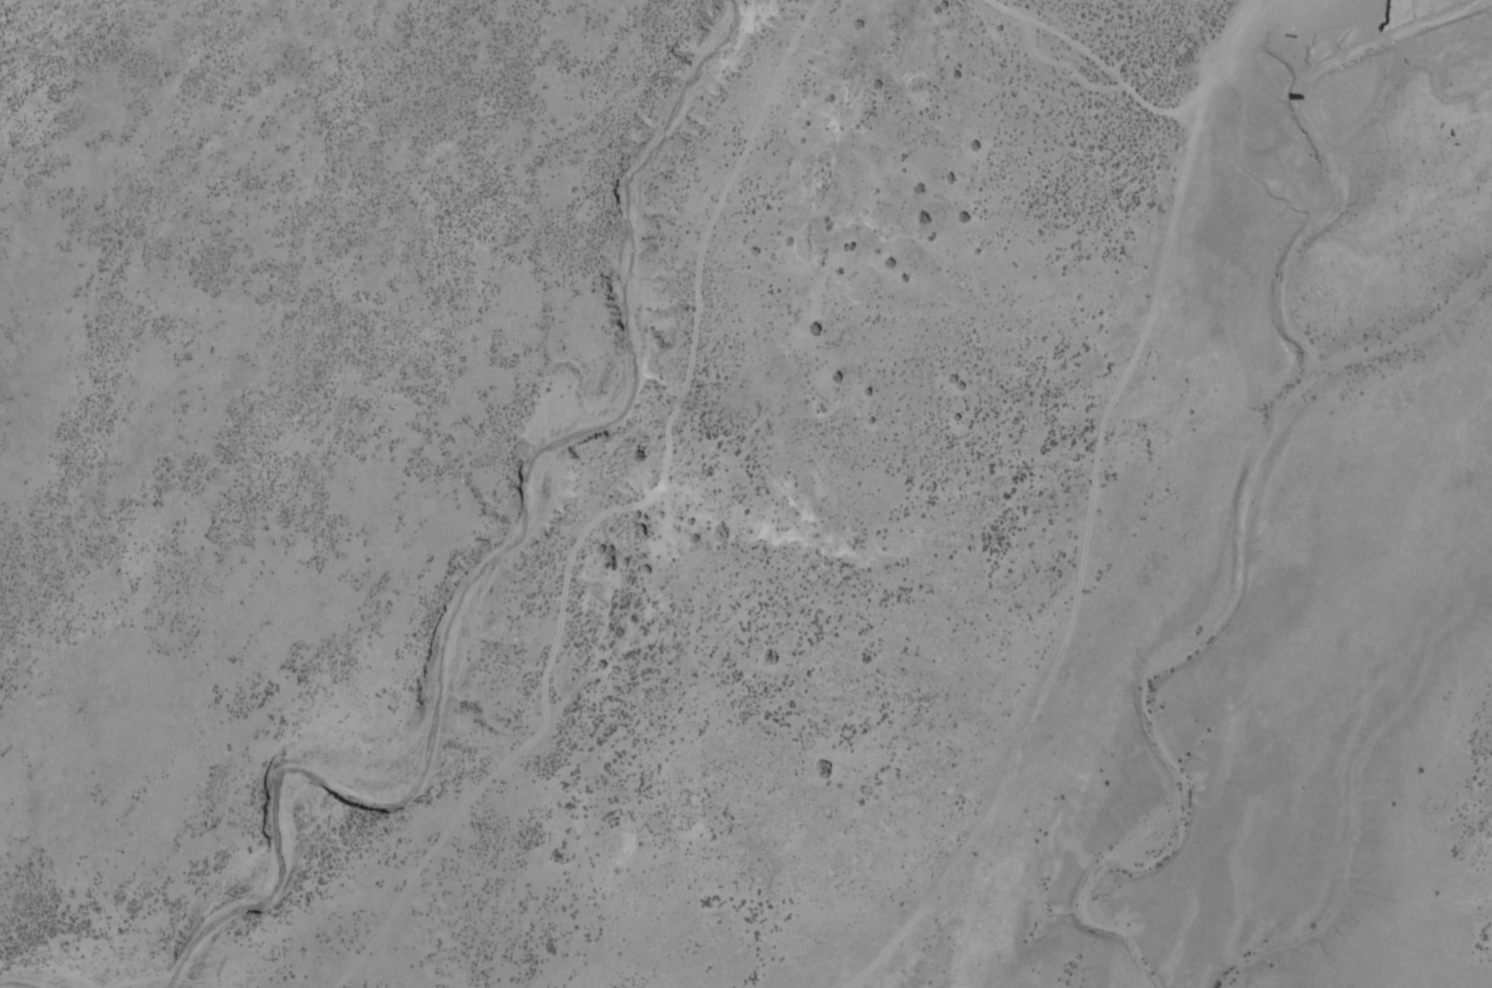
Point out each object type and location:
road: (1126, 78)

